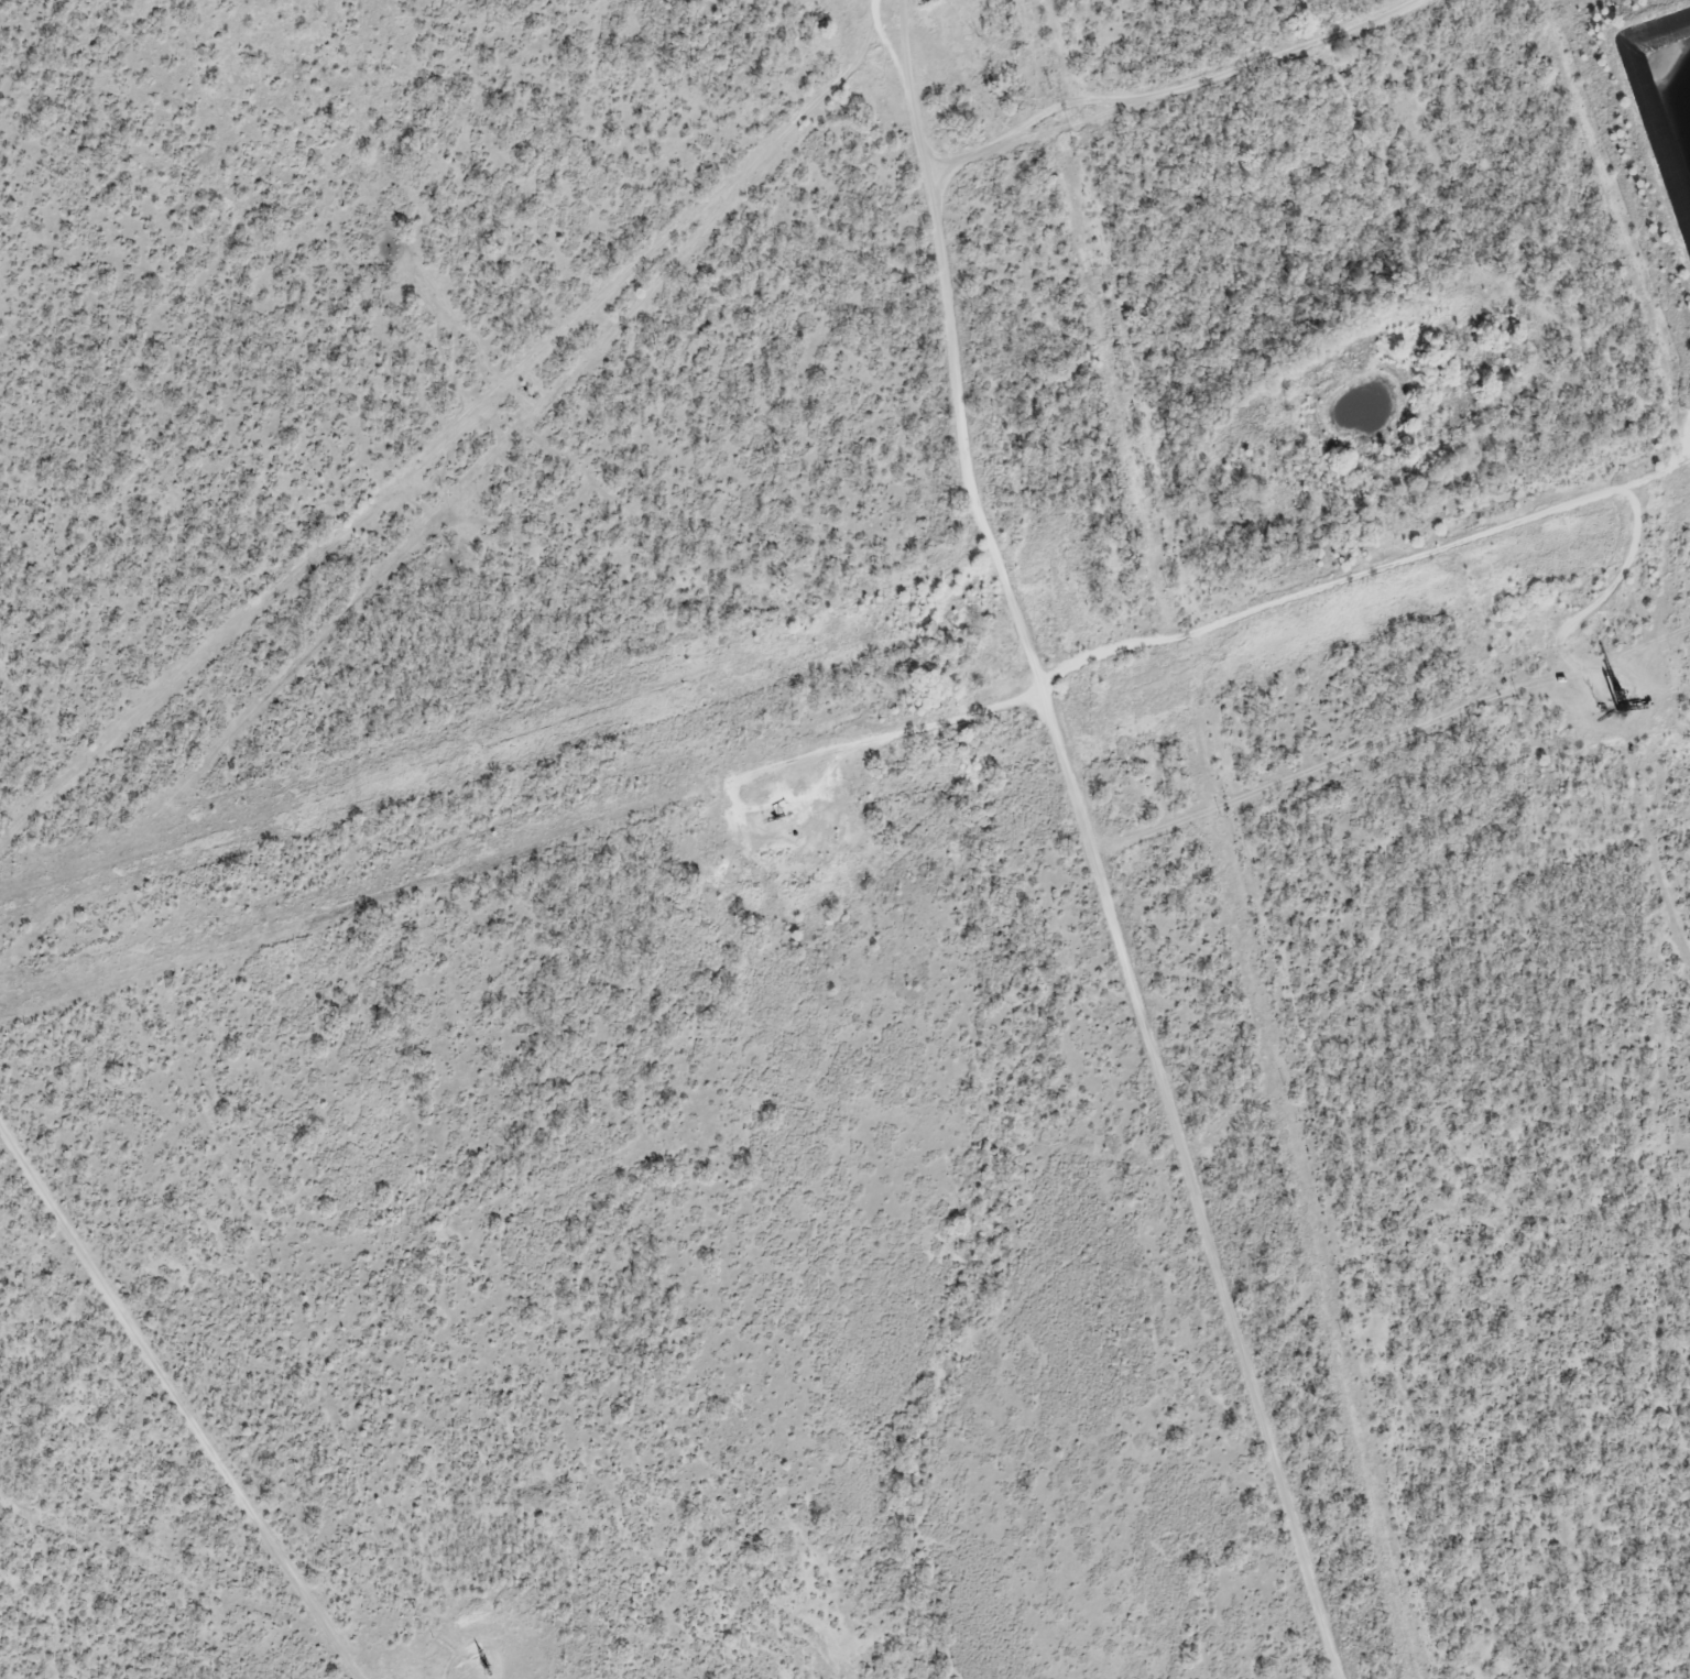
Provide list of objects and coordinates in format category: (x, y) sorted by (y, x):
road: (176, 1404)

